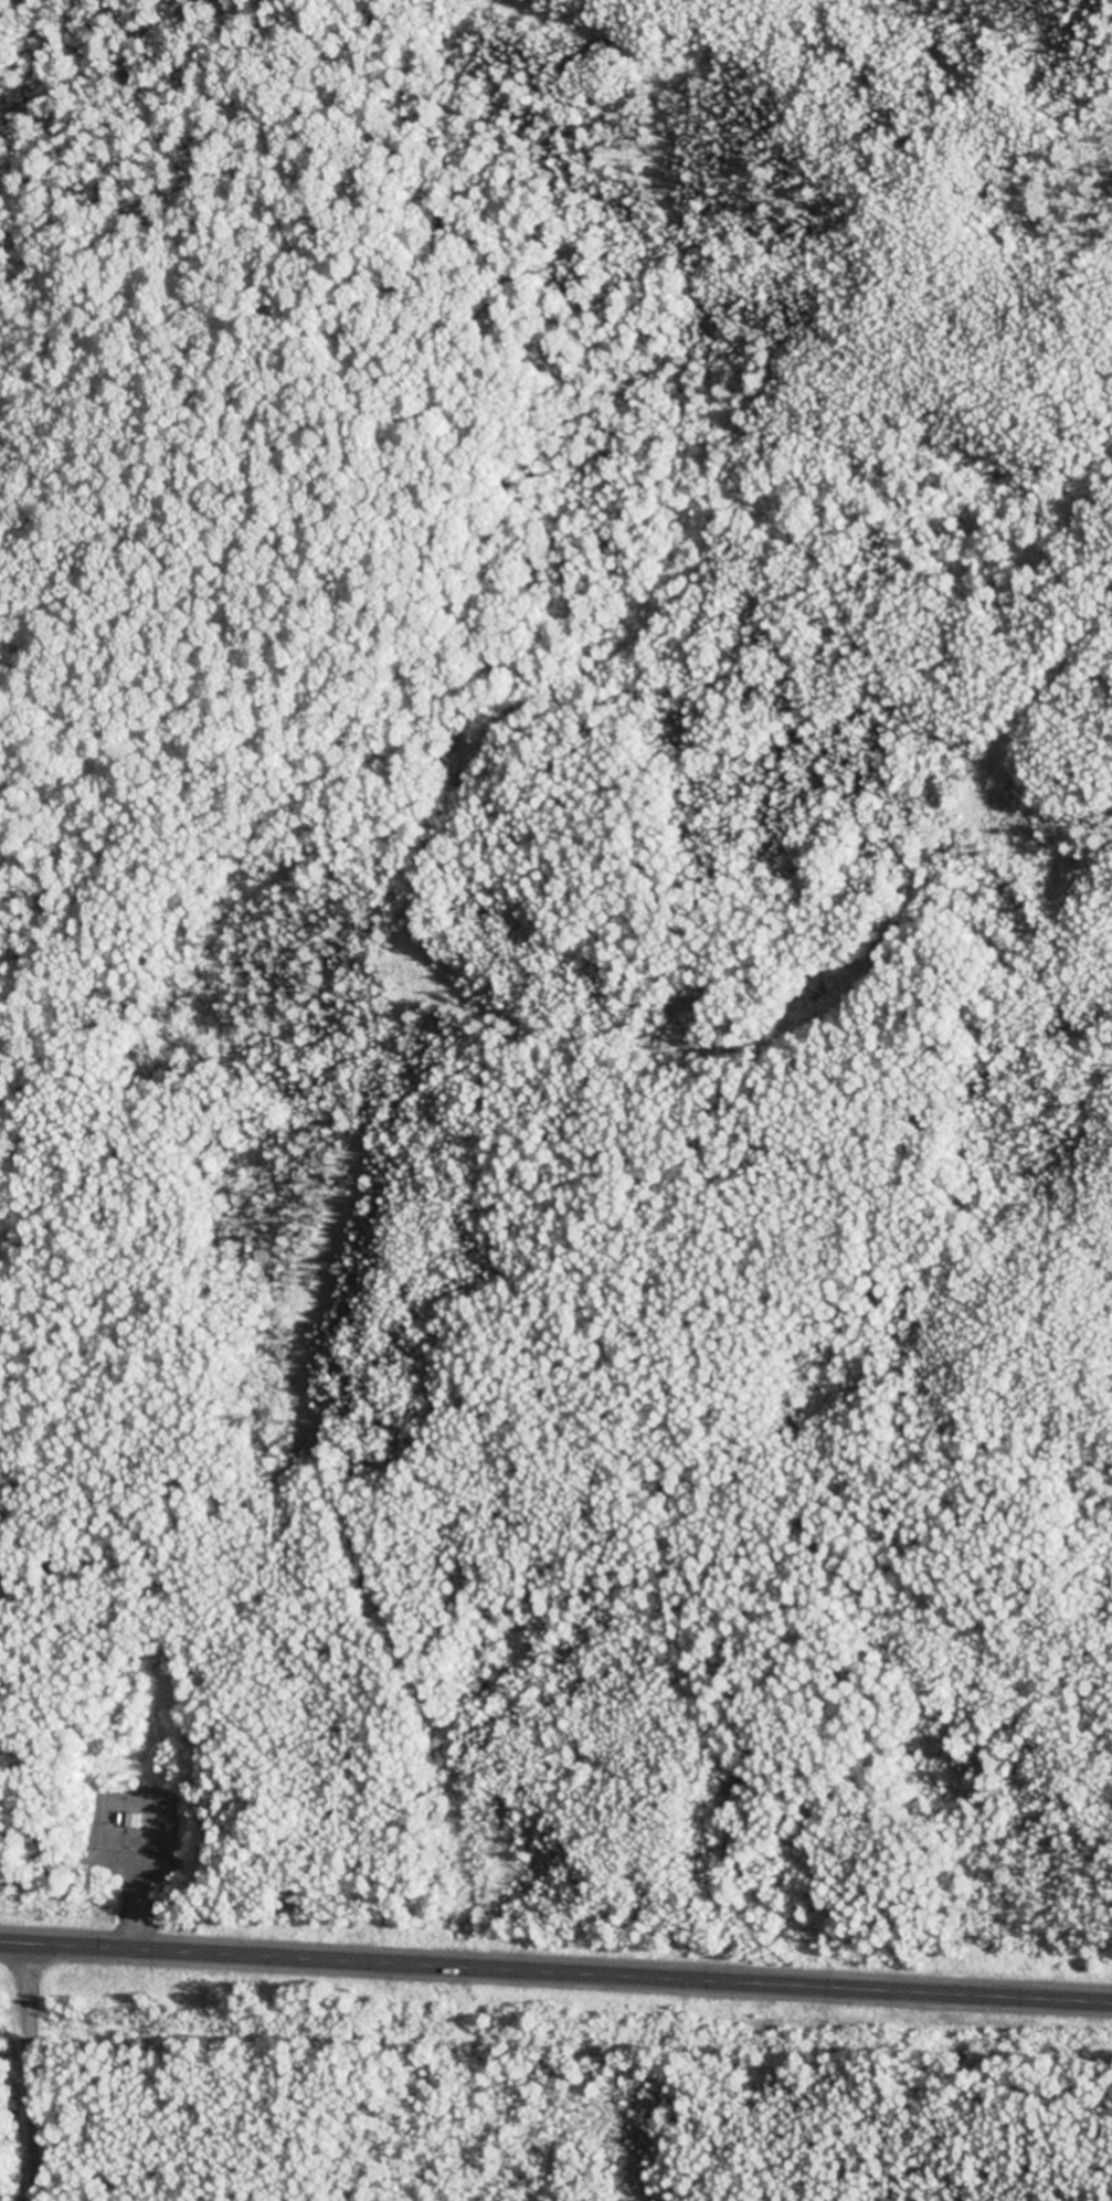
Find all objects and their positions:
road: (555, 1969)
road: (33, 2068)

